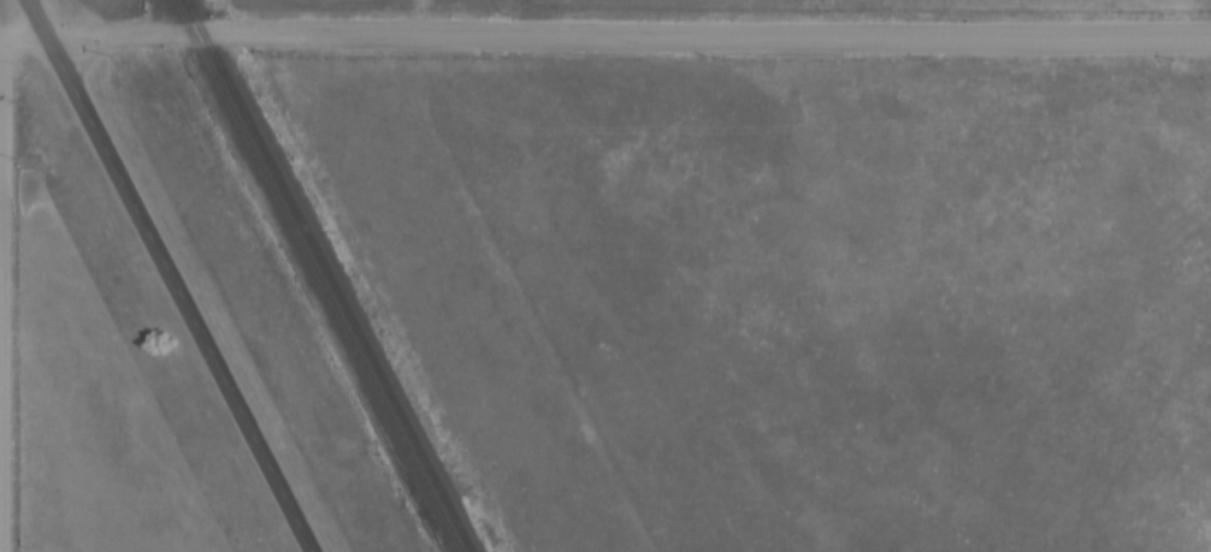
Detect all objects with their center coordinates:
road: (631, 34)
road: (26, 36)
railway: (318, 274)
road: (1, 275)
road: (176, 275)
railway: (333, 275)

